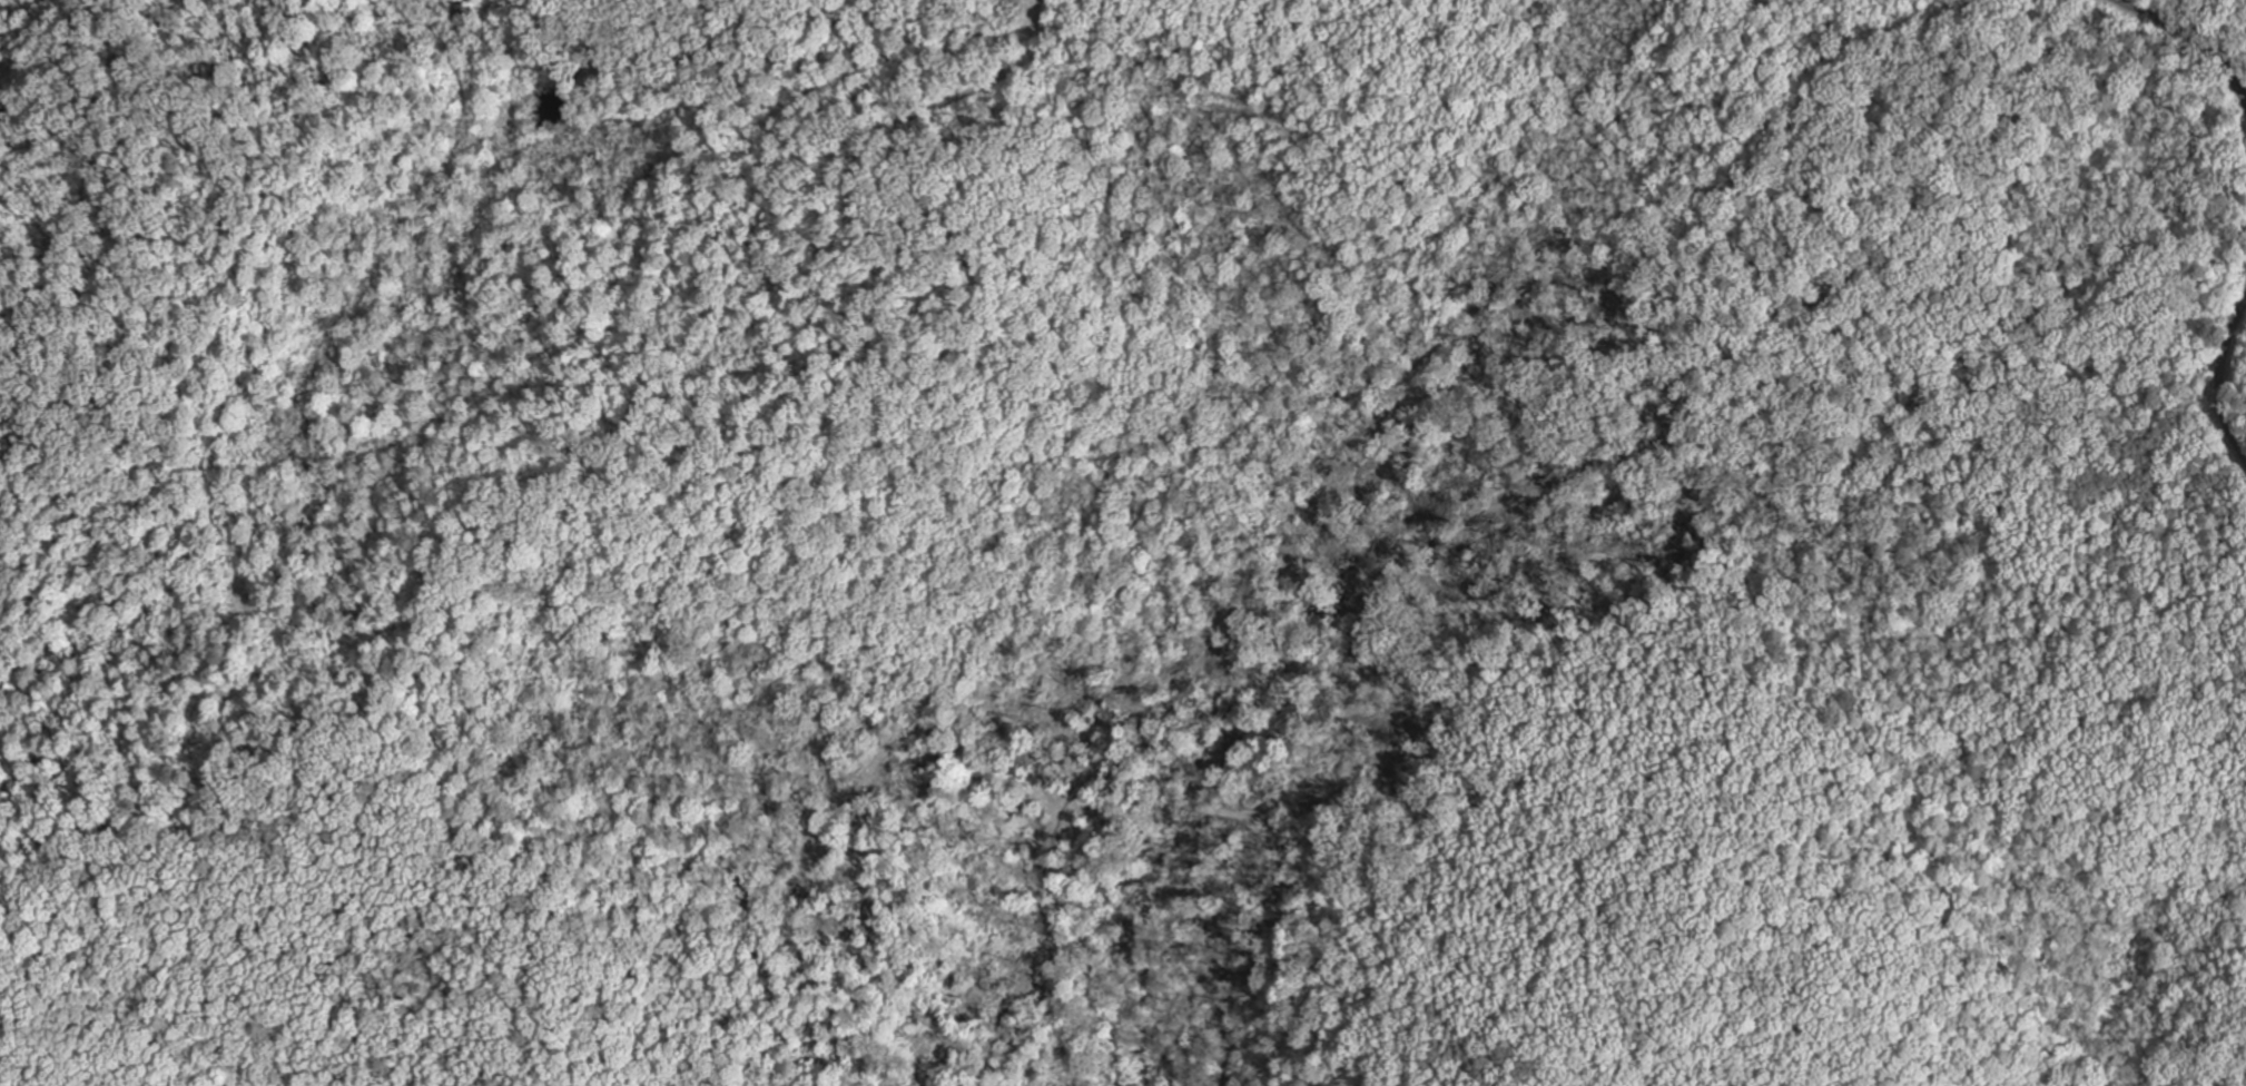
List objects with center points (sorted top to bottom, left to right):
road: (2189, 38)
road: (2222, 382)

